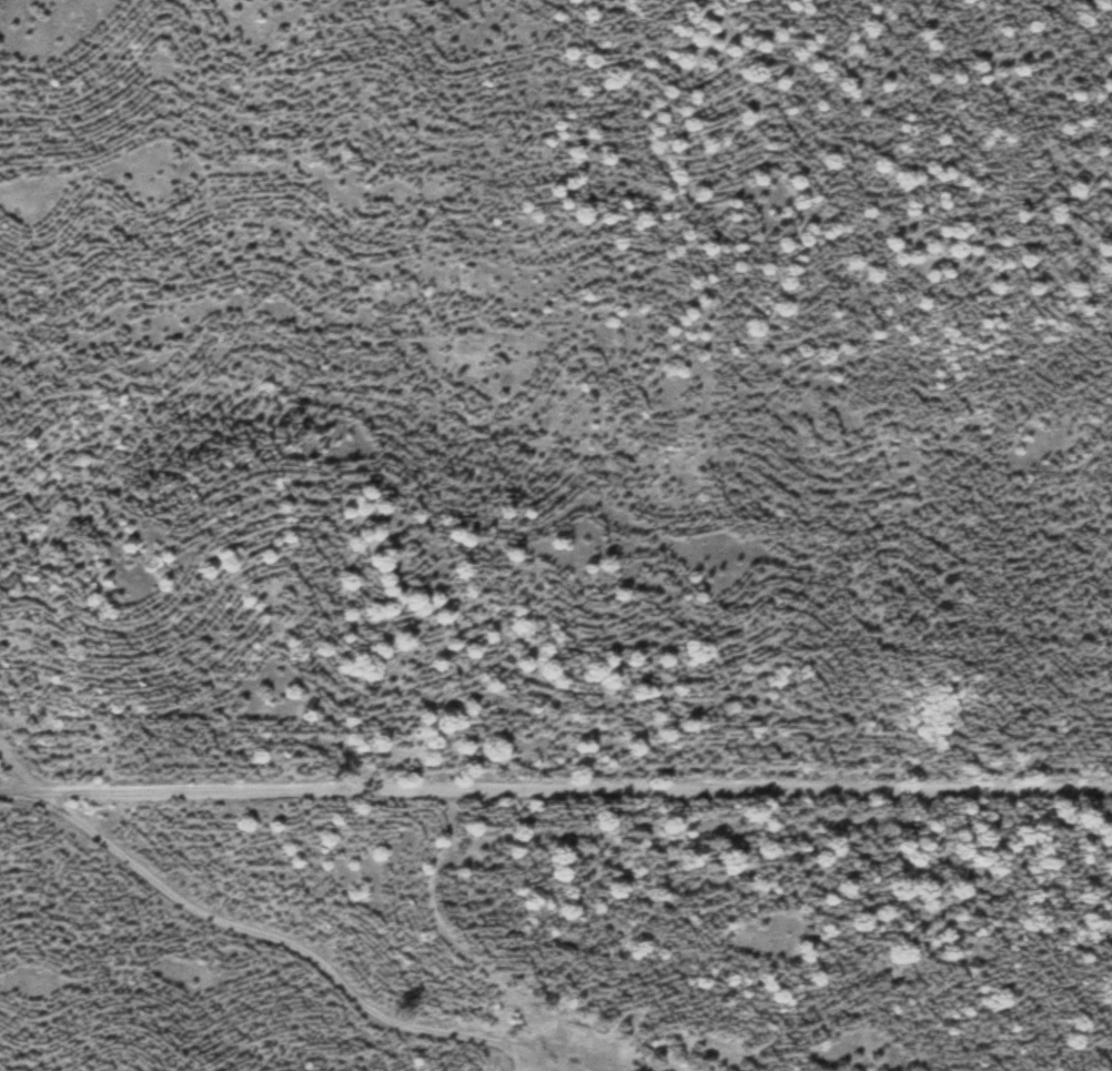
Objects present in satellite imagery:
road: (555, 792)
road: (250, 928)
road: (585, 1061)

